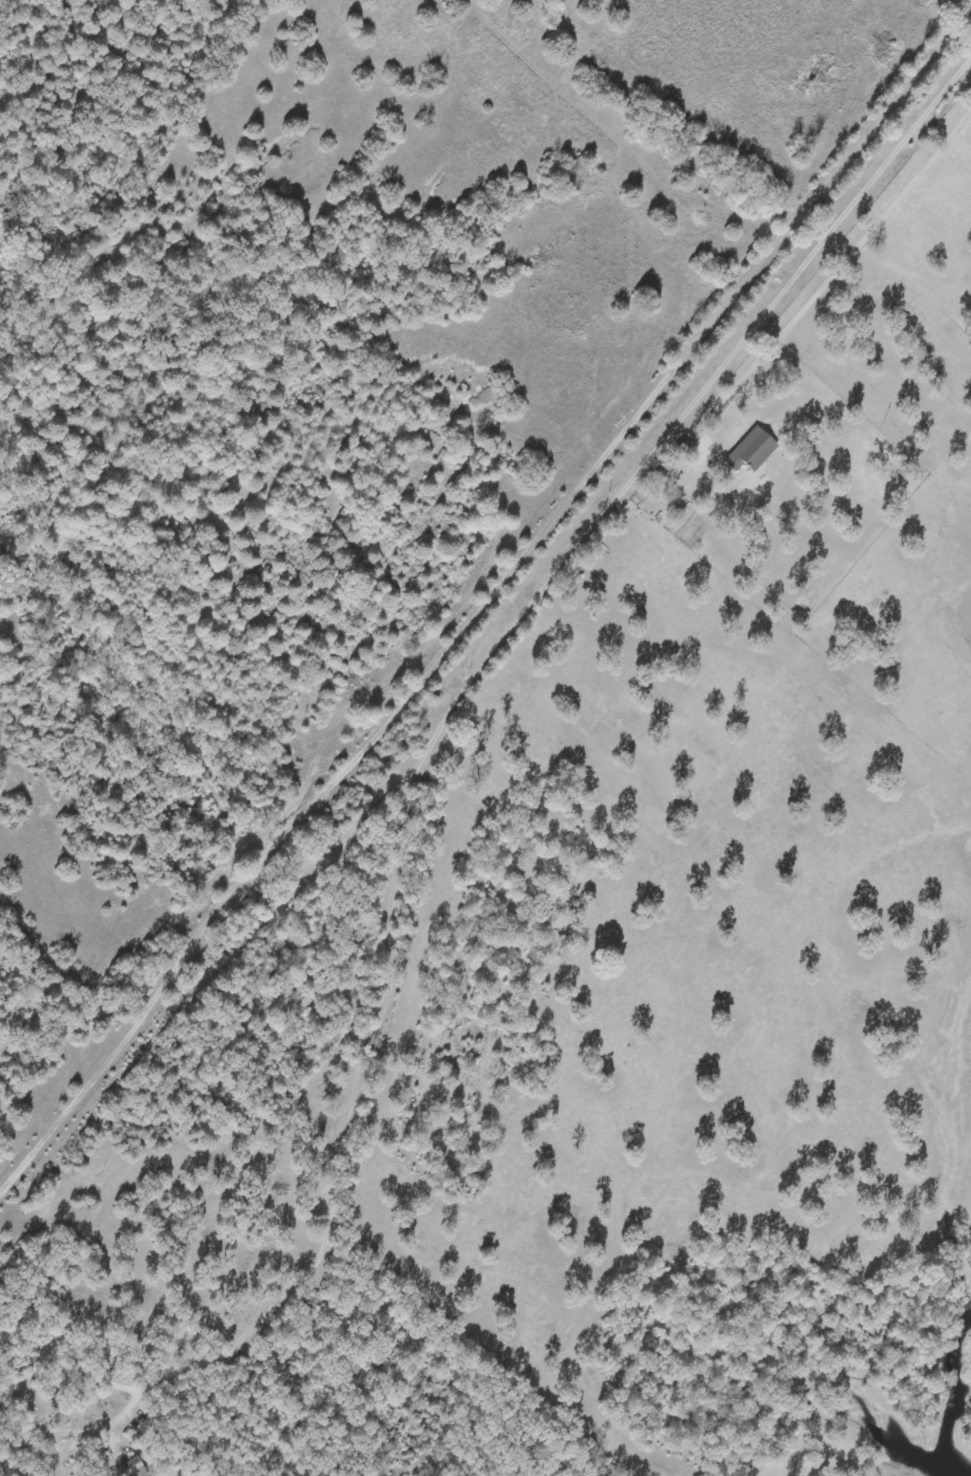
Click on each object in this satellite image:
building: (751, 448)
road: (483, 593)

